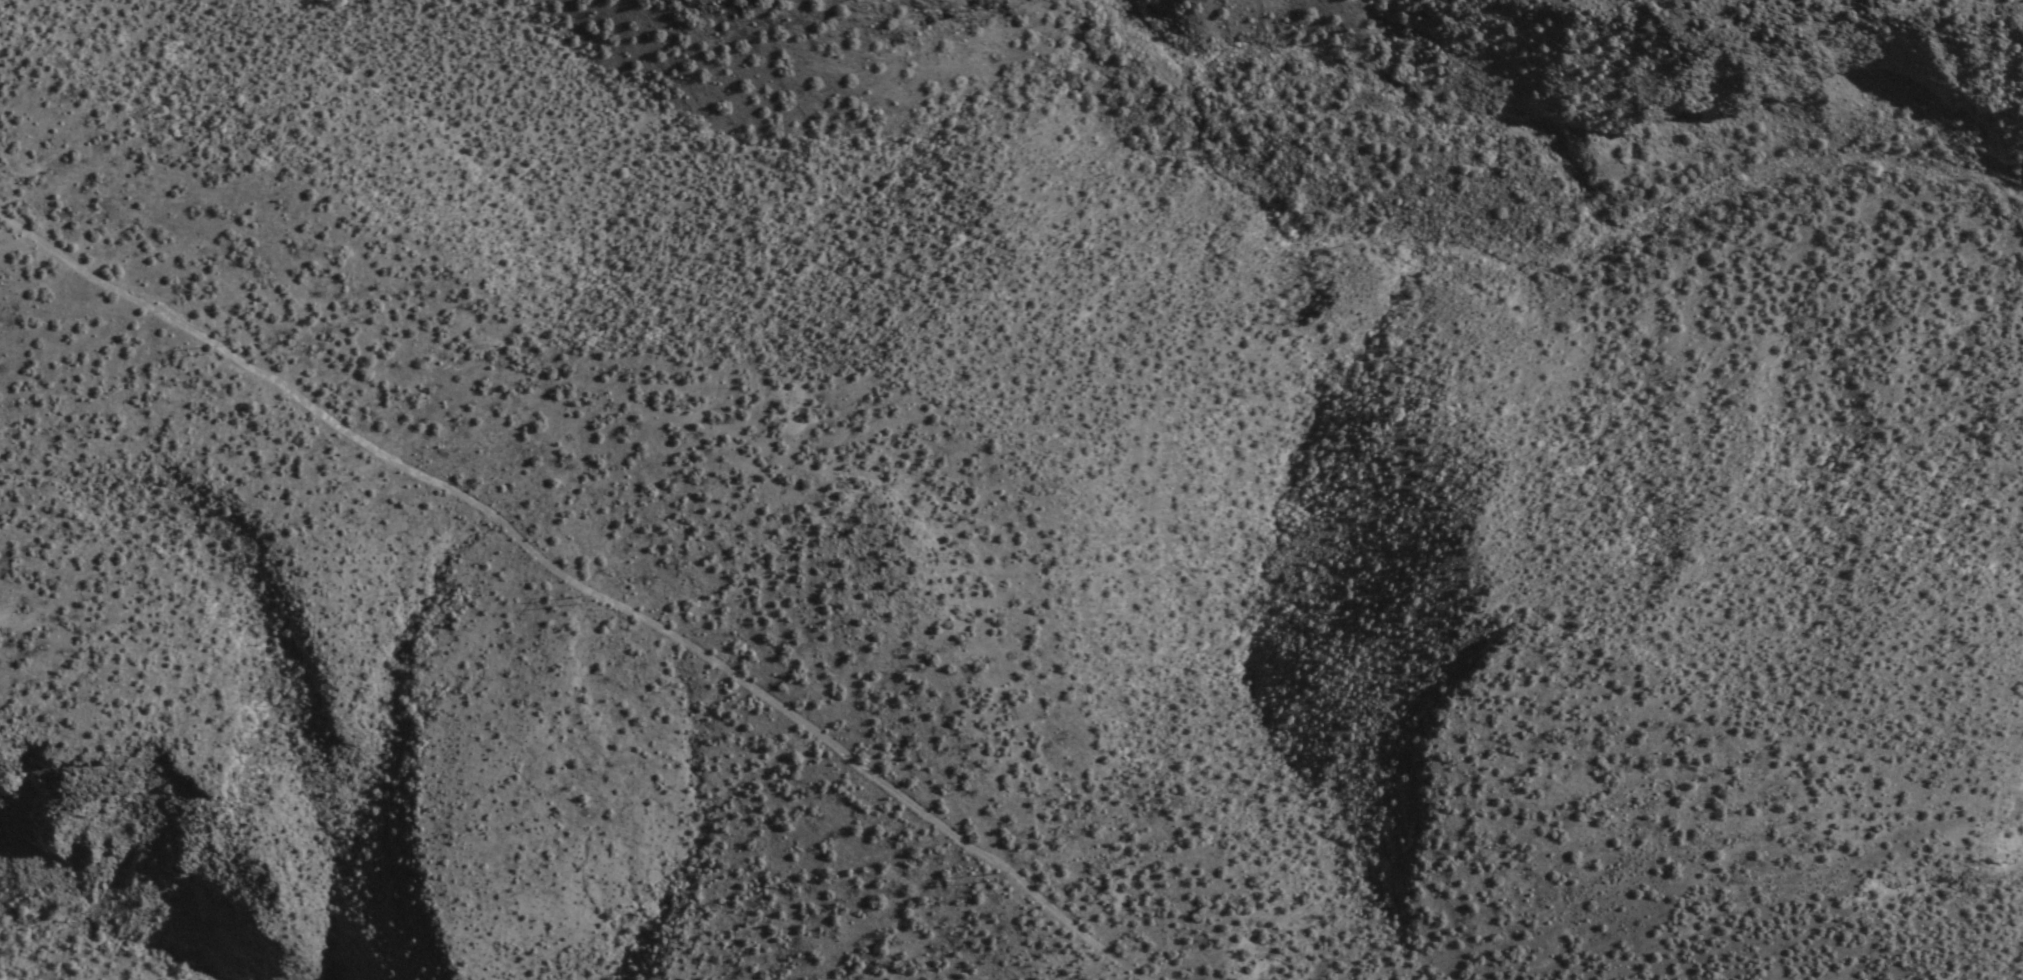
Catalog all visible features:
road: (1559, 125)
road: (578, 595)

